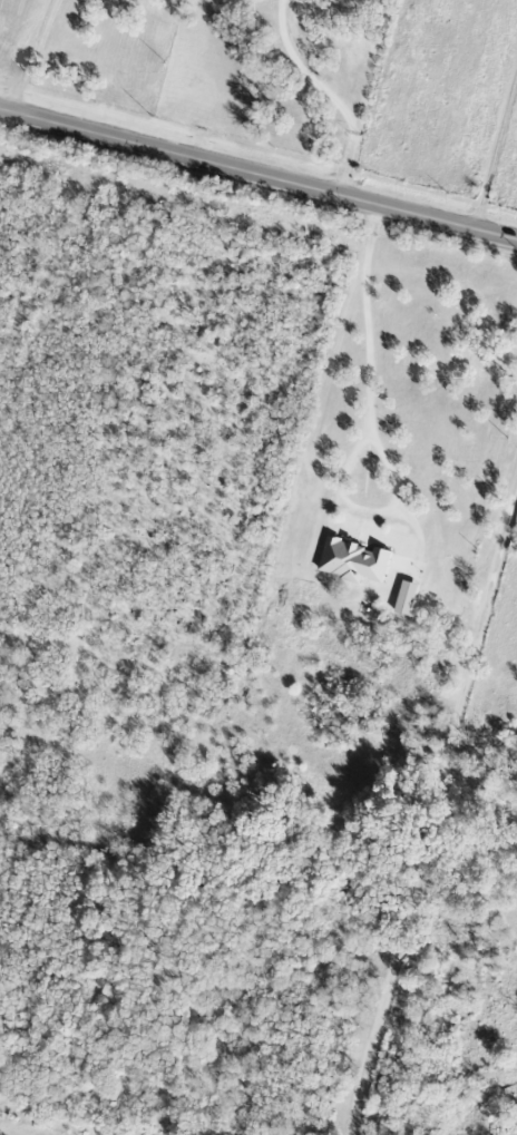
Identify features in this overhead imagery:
road: (28, 55)
road: (326, 95)
road: (496, 158)
road: (257, 175)
road: (371, 434)
road: (432, 808)

